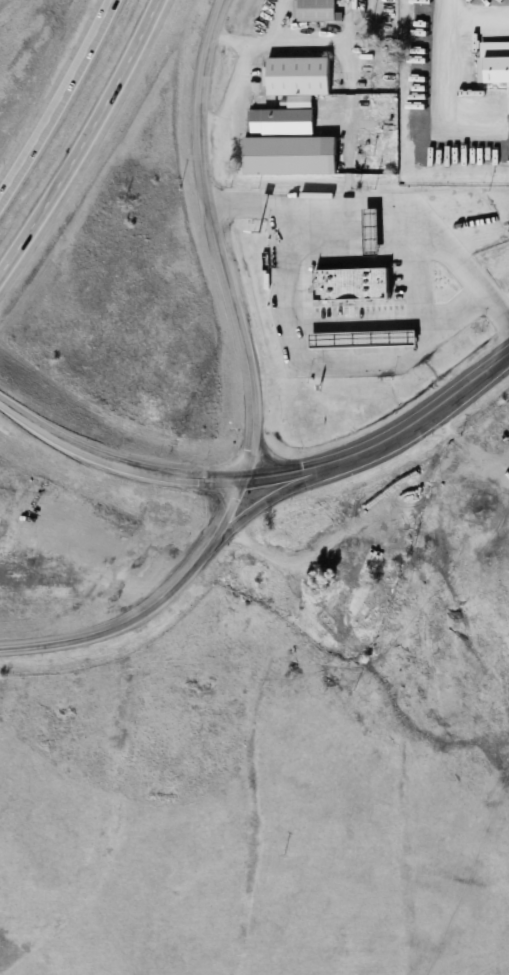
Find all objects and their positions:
building: (316, 10)
road: (282, 21)
road: (318, 40)
road: (231, 41)
building: (495, 70)
building: (299, 76)
road: (445, 86)
road: (60, 104)
building: (281, 122)
road: (86, 143)
building: (289, 156)
road: (387, 202)
building: (368, 227)
road: (352, 259)
building: (349, 285)
road: (414, 319)
road: (425, 328)
building: (361, 337)
gas station: (361, 337)
road: (328, 362)
road: (257, 396)
road: (260, 478)
road: (284, 494)
road: (332, 543)
building: (352, 594)

